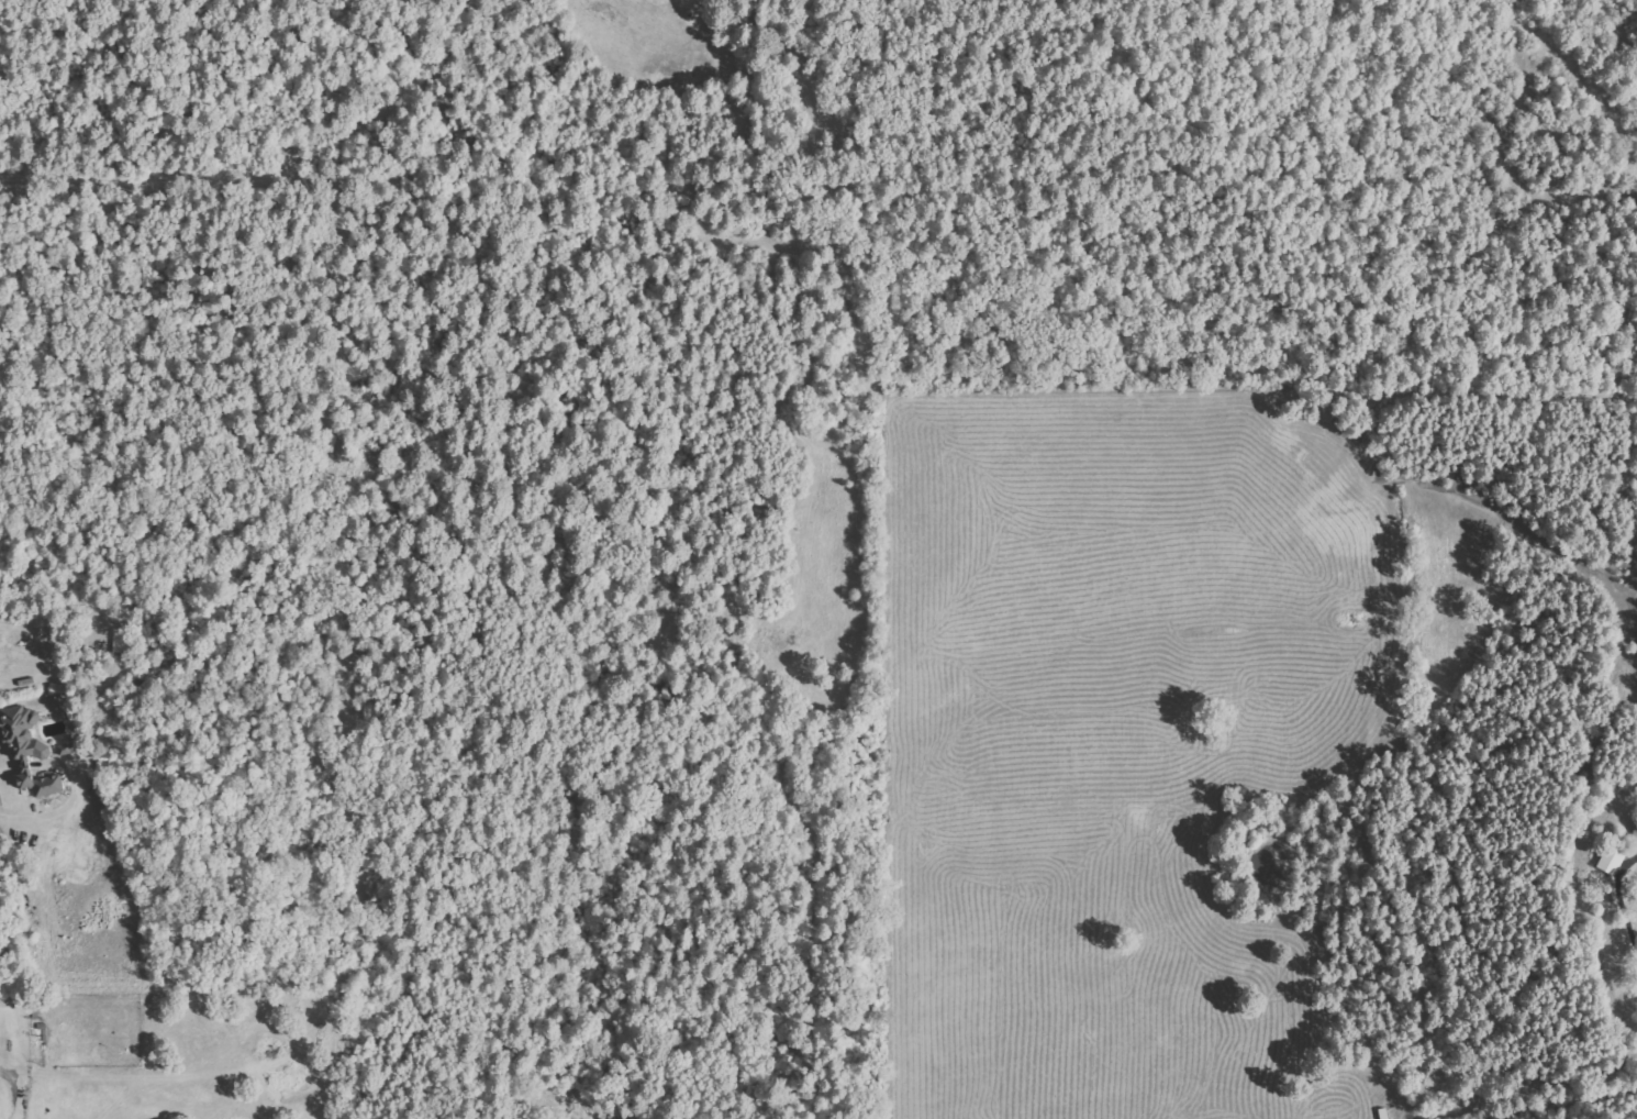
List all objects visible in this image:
building: (121, 640)
building: (27, 741)
building: (42, 783)
building: (1635, 831)
building: (1612, 861)

